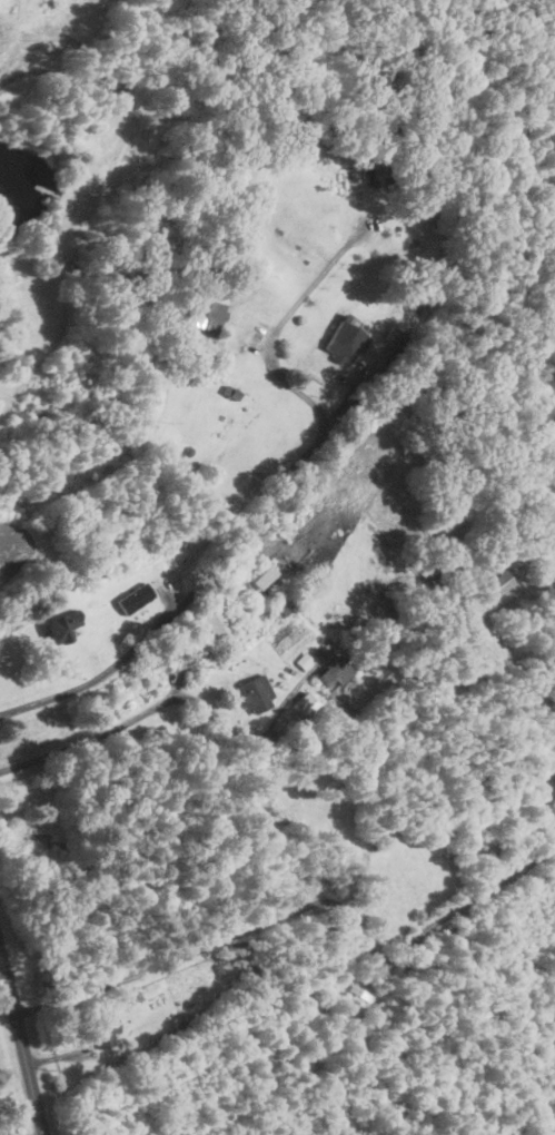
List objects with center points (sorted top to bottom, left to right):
building: (204, 310)
building: (338, 336)
road: (260, 511)
building: (495, 582)
building: (129, 596)
building: (211, 622)
building: (53, 626)
building: (328, 671)
building: (250, 691)
road: (174, 699)
building: (295, 708)
road: (231, 936)
road: (1, 965)
building: (100, 1030)
road: (21, 1043)

